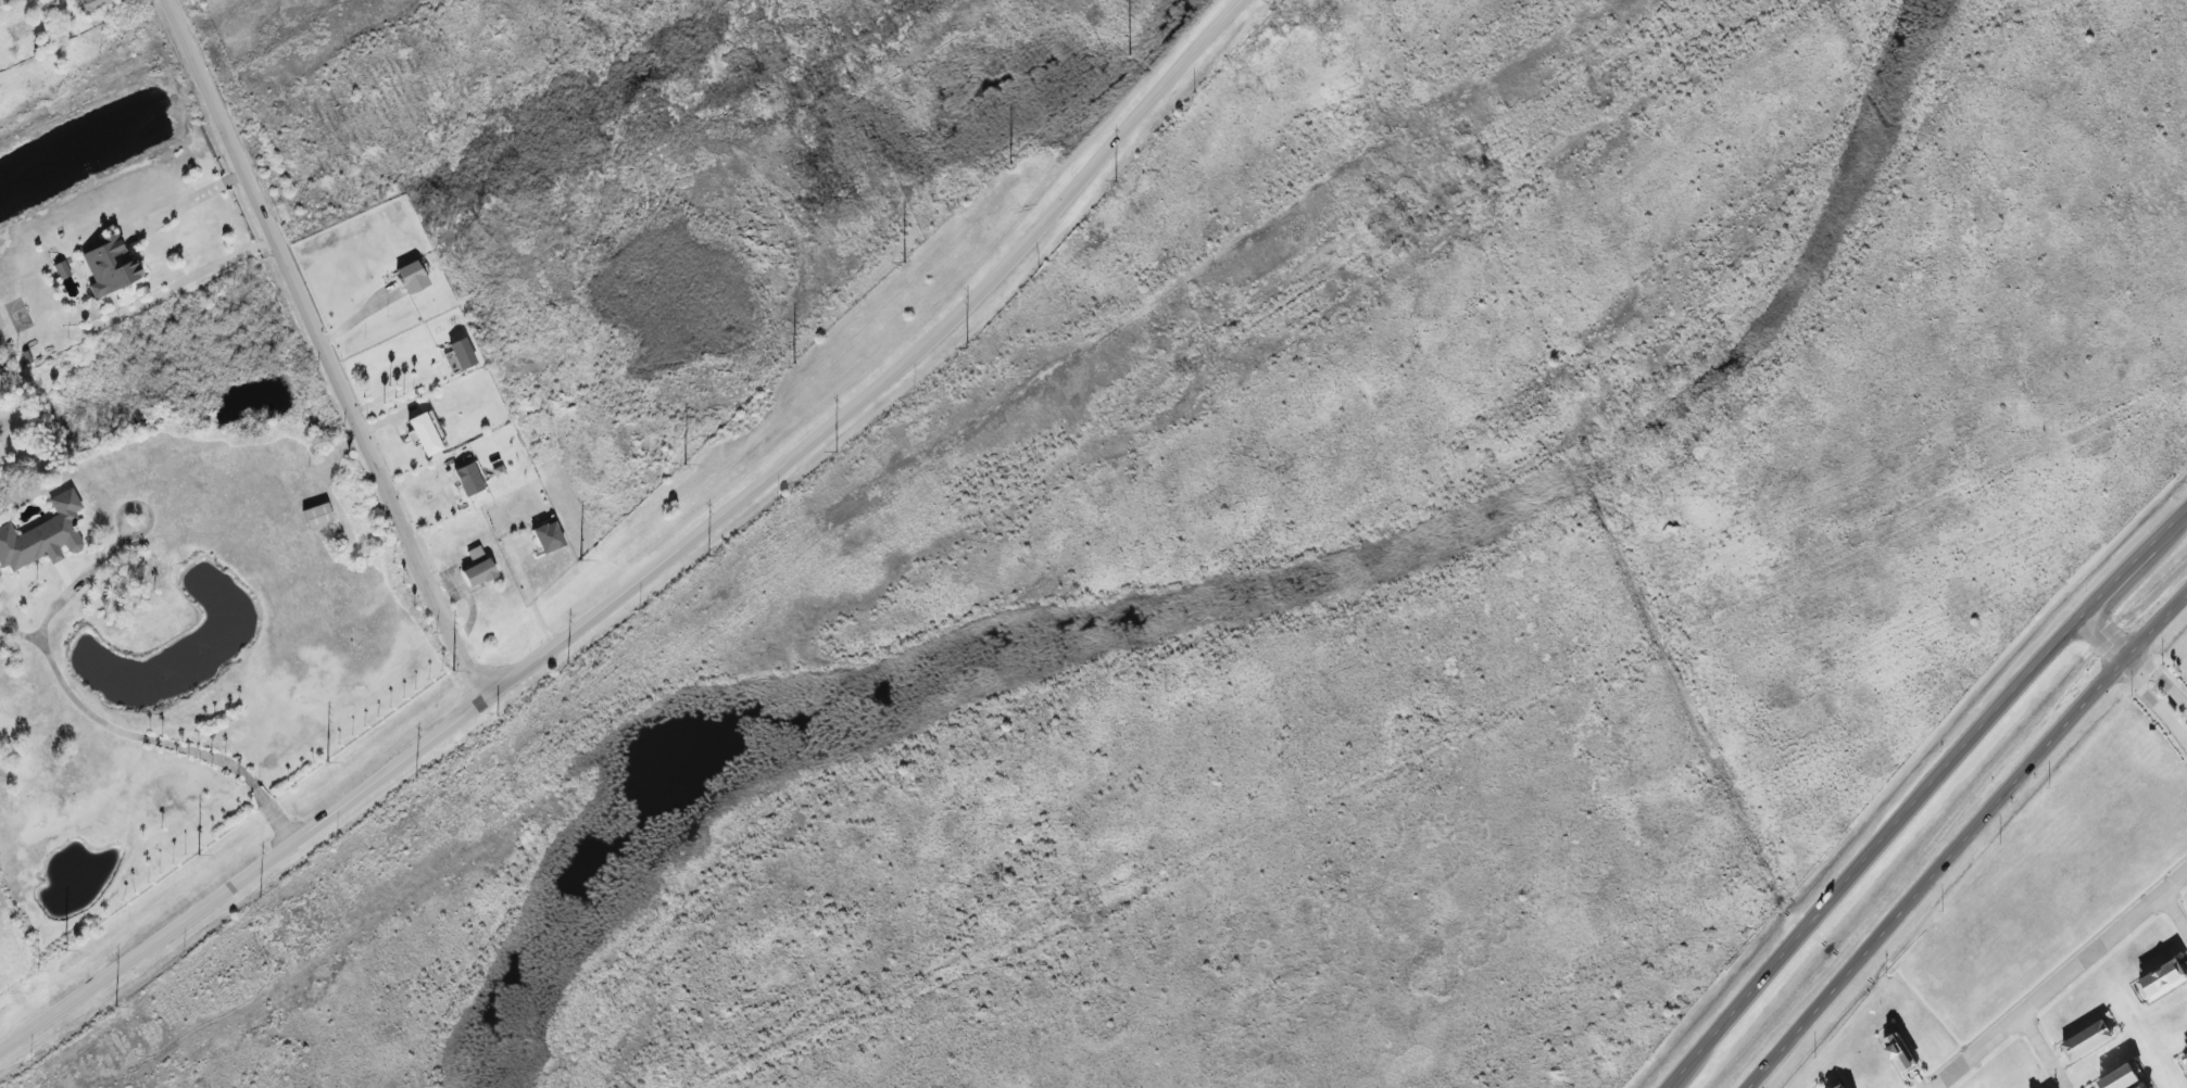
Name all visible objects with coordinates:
building: (91, 4)
road: (198, 212)
building: (108, 267)
building: (61, 269)
building: (412, 277)
road: (357, 316)
road: (322, 351)
building: (458, 356)
road: (393, 392)
building: (426, 433)
building: (470, 479)
building: (316, 516)
building: (42, 535)
building: (546, 536)
building: (475, 555)
road: (657, 567)
building: (477, 573)
road: (2107, 634)
road: (2161, 676)
road: (64, 685)
road: (2153, 703)
road: (1924, 796)
road: (1965, 839)
road: (2176, 910)
road: (2062, 981)
building: (2163, 981)
building: (2088, 1040)
road: (2043, 1052)
building: (1900, 1053)
building: (2185, 1059)
building: (2121, 1078)
building: (1838, 1086)
building: (2141, 1087)

